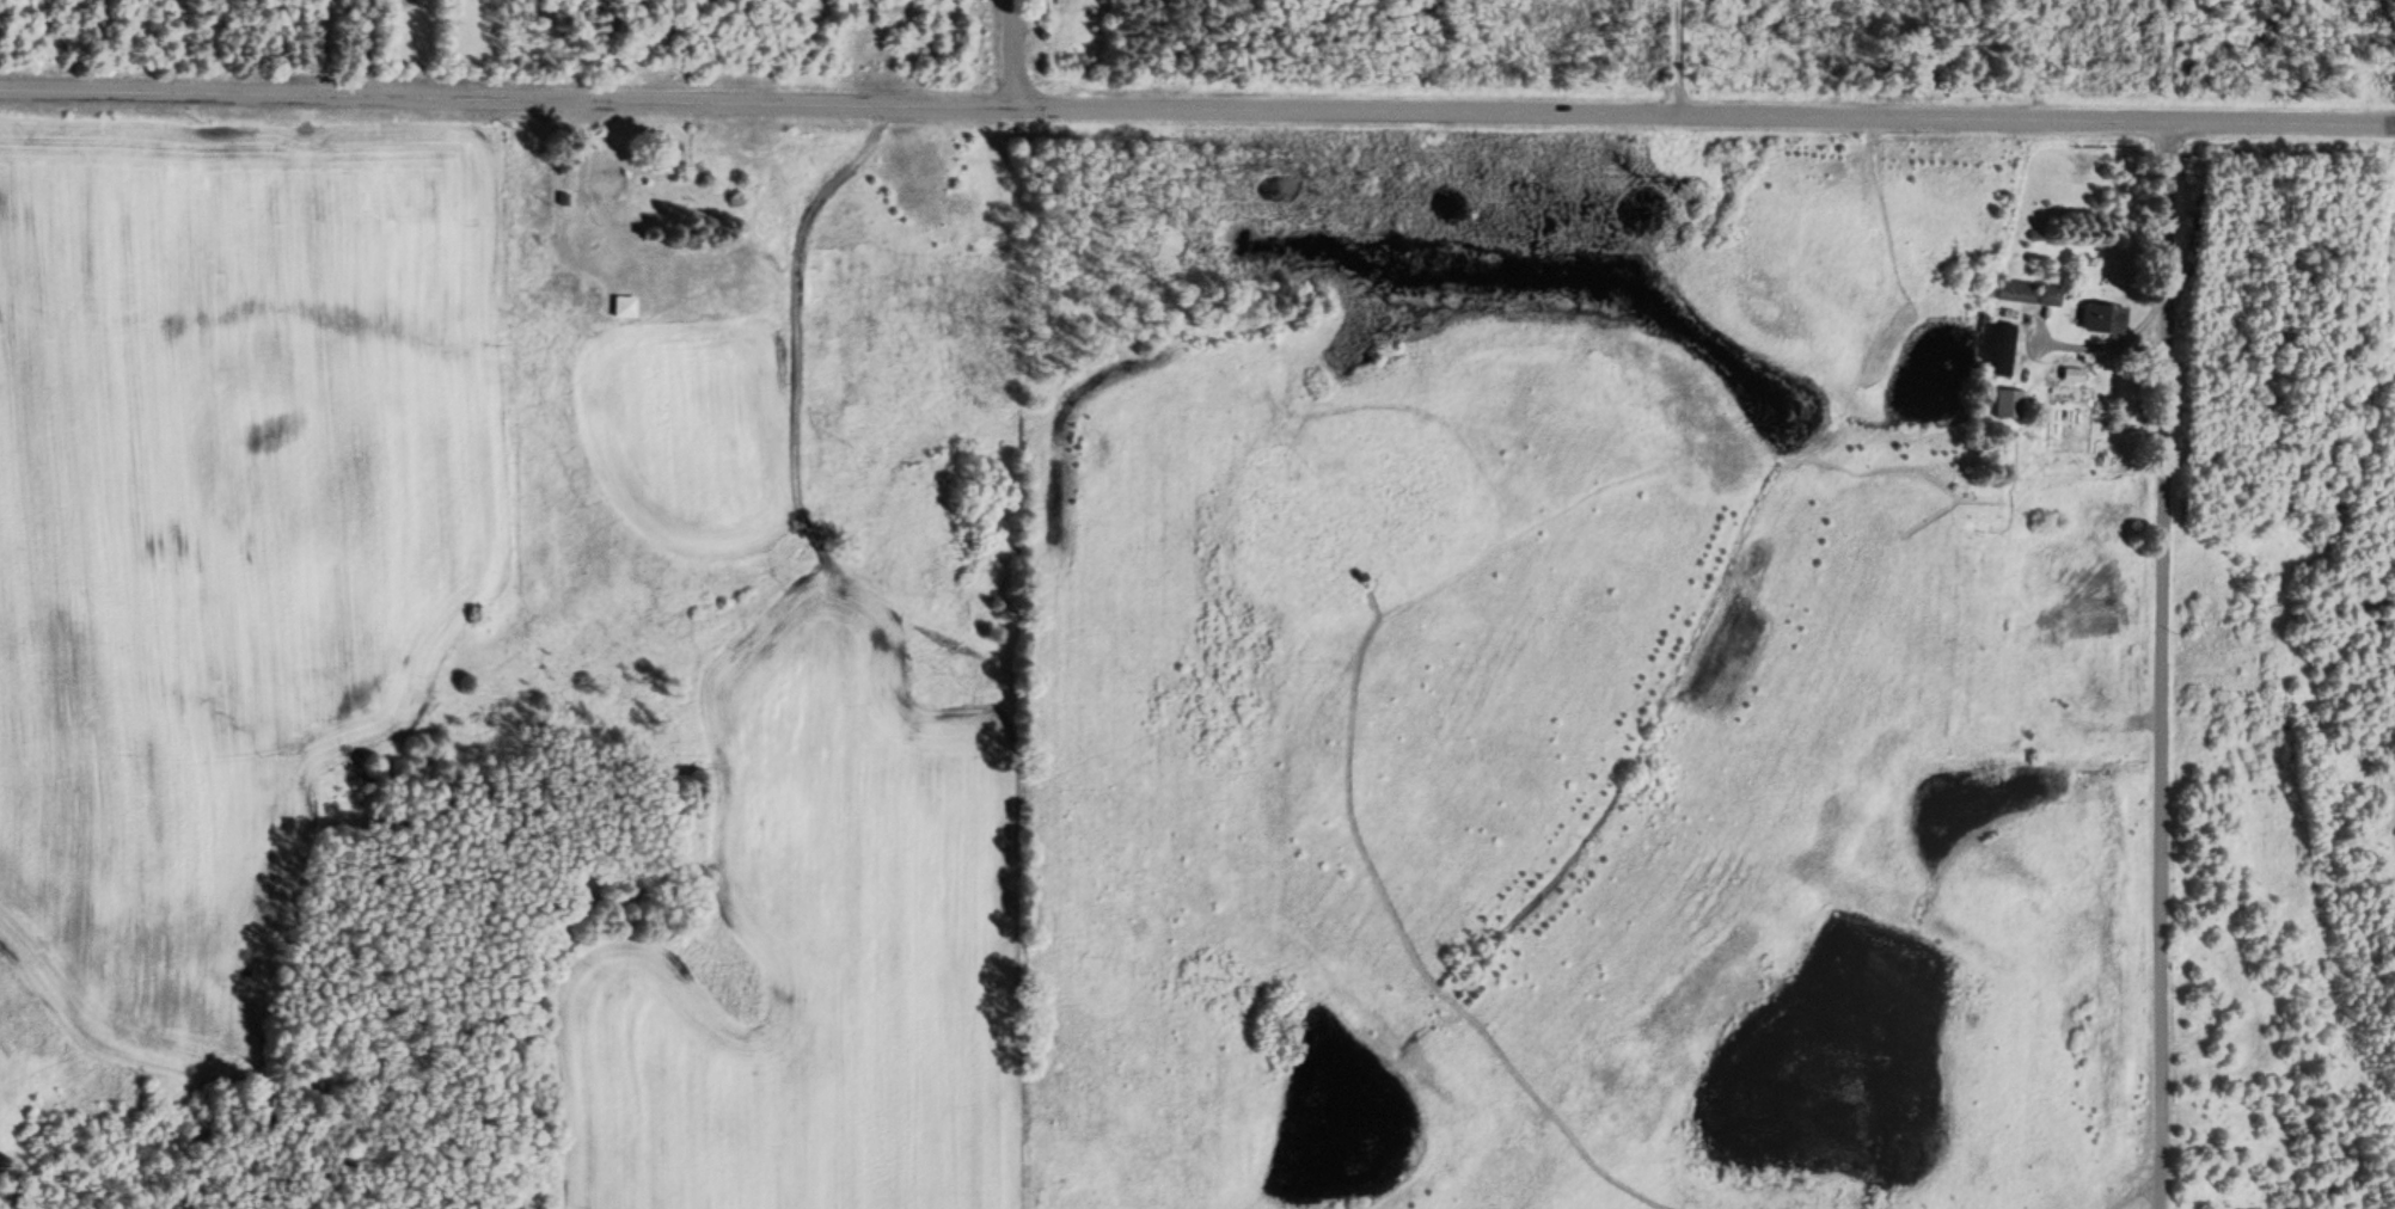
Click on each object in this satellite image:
road: (1012, 54)
road: (1196, 110)
building: (606, 186)
building: (540, 263)
building: (2028, 291)
building: (623, 306)
building: (2101, 318)
building: (1999, 349)
building: (2072, 374)
building: (2009, 404)
road: (2167, 667)

